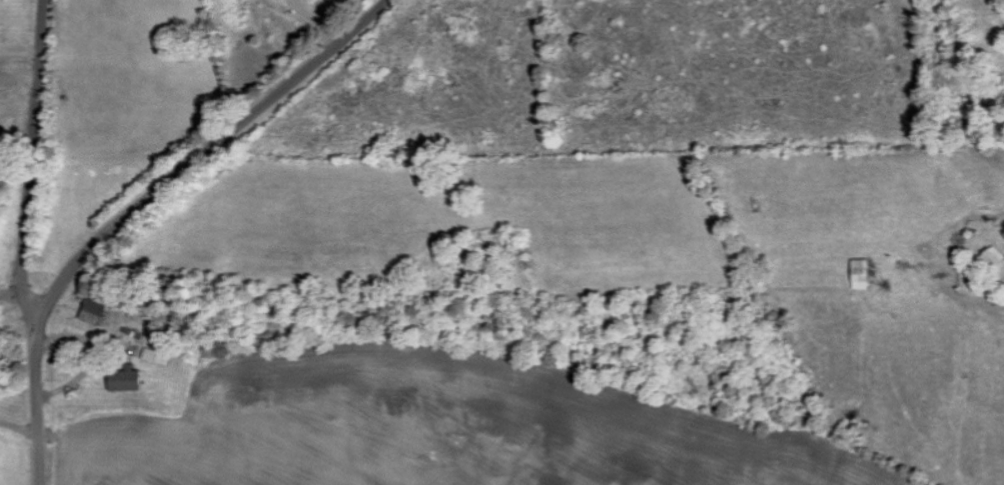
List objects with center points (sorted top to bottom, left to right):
road: (30, 166)
road: (142, 203)
building: (993, 259)
building: (862, 274)
road: (14, 292)
building: (92, 313)
building: (124, 381)
road: (19, 430)

